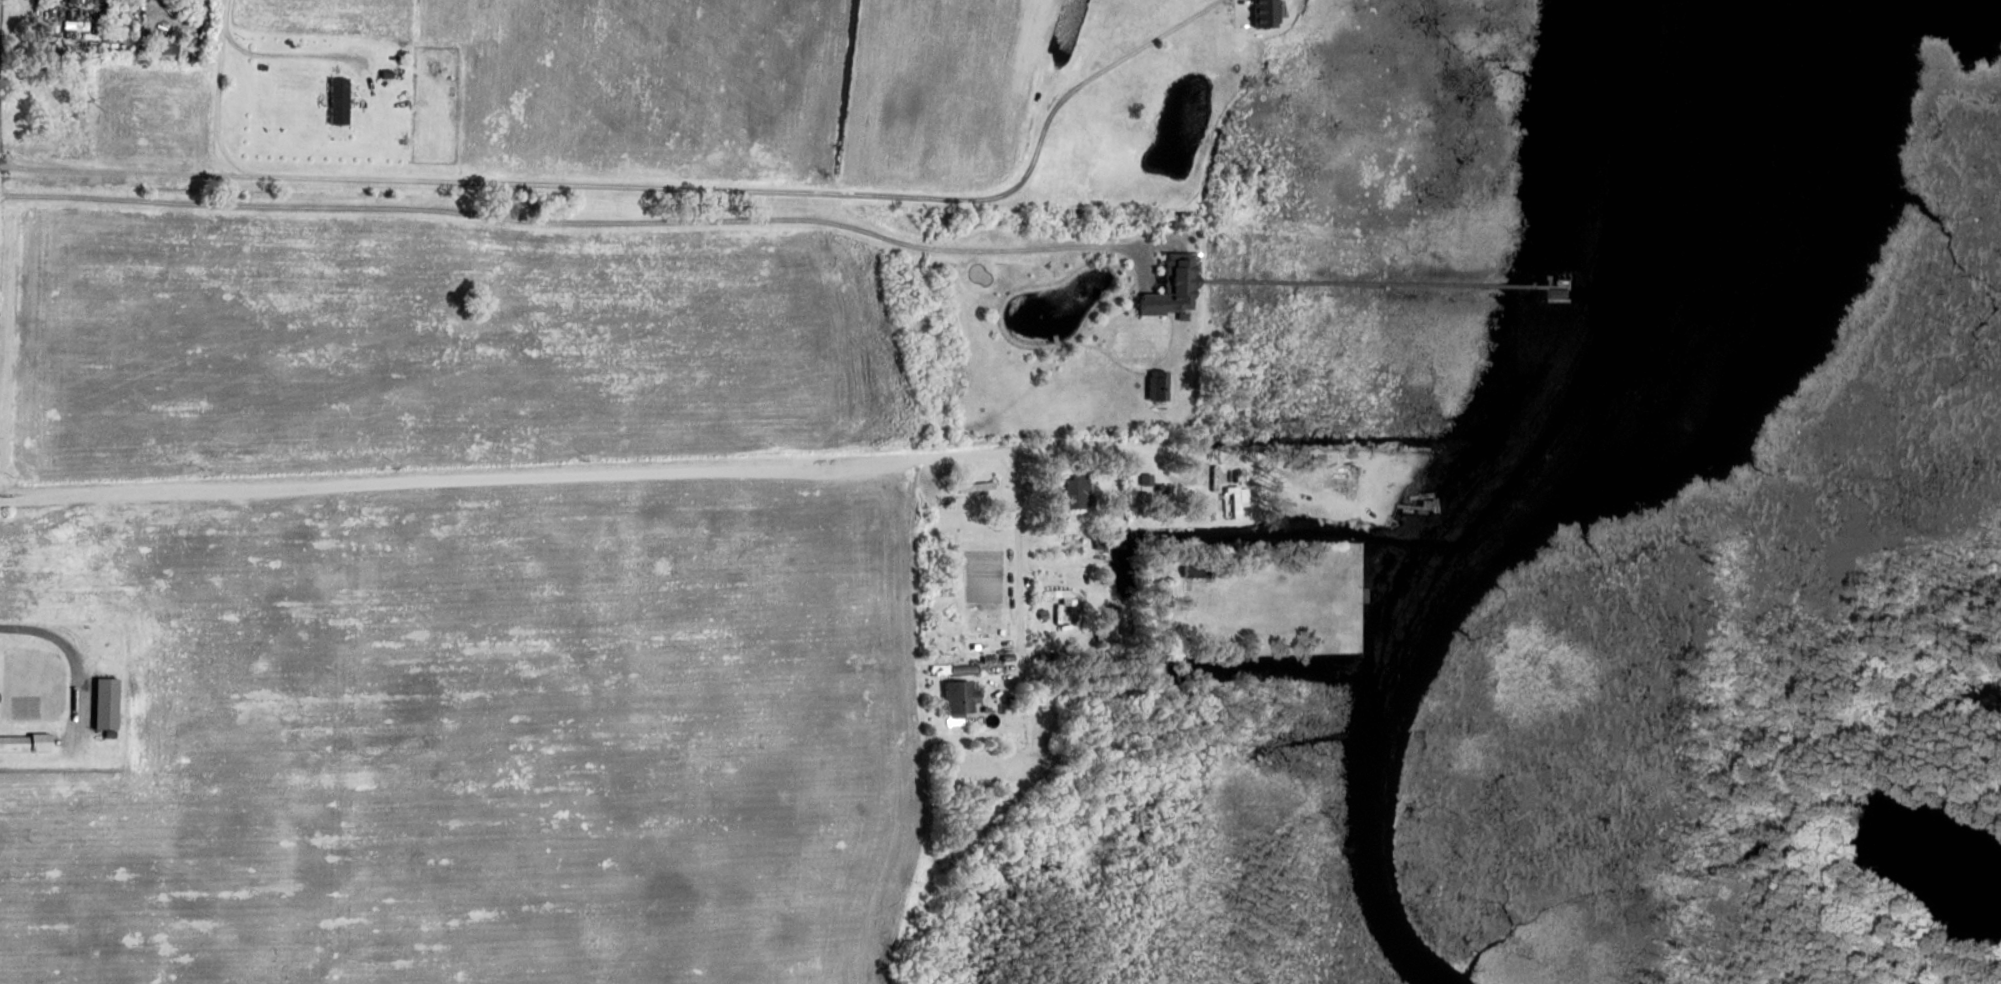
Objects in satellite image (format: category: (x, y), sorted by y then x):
building: (73, 1)
road: (49, 5)
building: (1269, 13)
crop: (327, 15)
building: (125, 28)
building: (173, 47)
road: (271, 55)
building: (264, 66)
building: (389, 74)
crop: (649, 85)
crop: (949, 93)
building: (59, 98)
building: (340, 101)
road: (217, 108)
crop: (159, 119)
road: (653, 186)
road: (586, 223)
road: (1144, 267)
pier: (1548, 281)
pier: (1568, 282)
pier: (1381, 283)
building: (1163, 286)
building: (1559, 293)
pier: (1551, 301)
pier: (1056, 339)
crop: (415, 341)
road: (1009, 341)
road: (1169, 341)
road: (1110, 355)
building: (1154, 384)
building: (1291, 460)
road: (1156, 466)
building: (1354, 469)
road: (1048, 470)
road: (1232, 472)
road: (636, 473)
building: (974, 485)
building: (1142, 487)
building: (1159, 488)
building: (1071, 491)
building: (1232, 500)
pier: (1415, 506)
road: (1041, 542)
building: (1099, 543)
road: (1023, 567)
building: (1192, 570)
building: (1056, 592)
building: (1040, 613)
building: (1104, 622)
road: (75, 657)
building: (1004, 657)
building: (984, 659)
road: (1137, 665)
building: (949, 669)
road: (1006, 687)
building: (955, 695)
building: (0, 696)
building: (109, 702)
building: (112, 734)
crop: (483, 736)
building: (29, 742)

